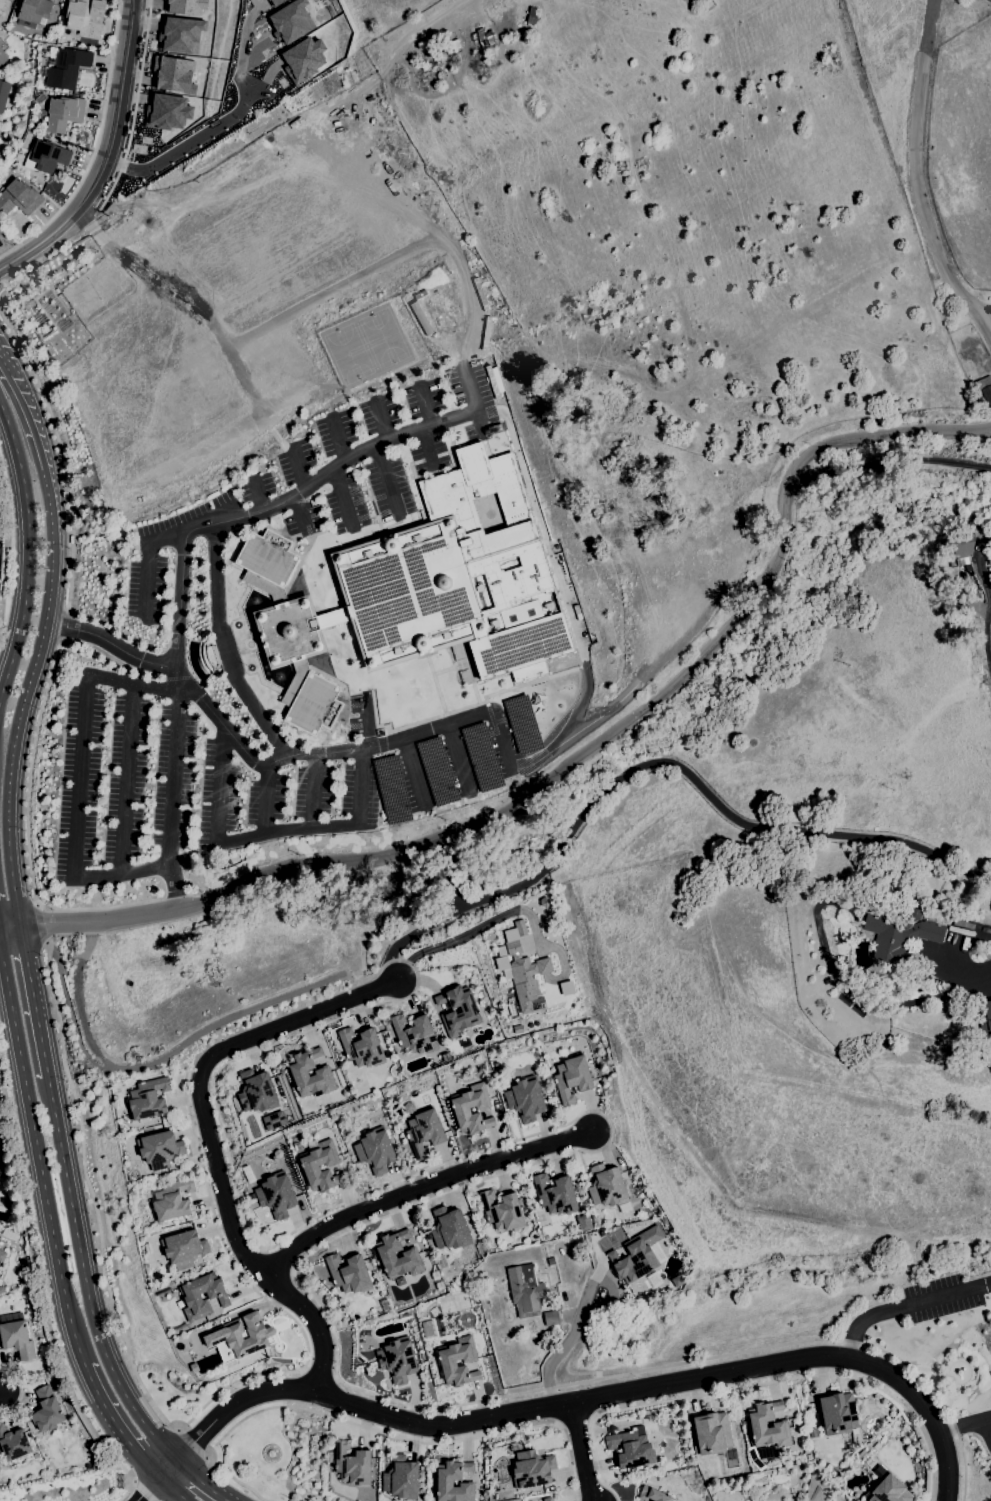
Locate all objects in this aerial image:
building: (1, 4)
building: (33, 13)
building: (83, 17)
building: (291, 21)
building: (181, 35)
building: (2, 58)
road: (241, 60)
building: (6, 66)
building: (67, 68)
building: (174, 75)
building: (3, 93)
building: (41, 98)
building: (170, 112)
building: (64, 114)
road: (189, 145)
road: (94, 146)
building: (48, 156)
road: (107, 156)
road: (920, 175)
building: (1, 187)
building: (19, 198)
building: (1, 231)
road: (2, 295)
road: (982, 308)
road: (471, 393)
road: (426, 409)
road: (24, 419)
road: (385, 424)
road: (340, 443)
road: (379, 444)
road: (895, 464)
road: (299, 471)
road: (386, 481)
road: (257, 497)
road: (344, 500)
road: (295, 512)
road: (239, 517)
road: (6, 549)
road: (28, 555)
road: (149, 561)
building: (458, 576)
road: (990, 596)
parking lot: (148, 621)
building: (289, 632)
road: (110, 645)
road: (224, 649)
road: (50, 677)
road: (25, 698)
road: (205, 706)
road: (364, 722)
road: (456, 723)
building: (522, 725)
building: (481, 757)
road: (458, 761)
road: (655, 764)
road: (572, 768)
building: (437, 771)
road: (411, 774)
road: (128, 779)
road: (81, 780)
building: (391, 790)
road: (314, 792)
road: (172, 793)
road: (268, 799)
road: (265, 835)
road: (41, 924)
road: (9, 927)
building: (899, 938)
building: (521, 976)
road: (33, 1002)
building: (470, 1012)
building: (984, 1015)
road: (288, 1030)
building: (414, 1034)
building: (464, 1043)
building: (362, 1048)
road: (158, 1059)
building: (299, 1073)
building: (572, 1079)
building: (257, 1092)
building: (148, 1099)
building: (525, 1100)
building: (409, 1108)
building: (461, 1110)
building: (273, 1120)
building: (424, 1133)
building: (159, 1149)
building: (376, 1151)
road: (38, 1156)
building: (309, 1167)
road: (469, 1185)
road: (424, 1189)
building: (608, 1189)
building: (276, 1195)
building: (555, 1195)
building: (649, 1195)
building: (172, 1201)
building: (502, 1211)
building: (583, 1222)
building: (449, 1229)
building: (148, 1249)
building: (183, 1249)
road: (246, 1253)
building: (386, 1255)
building: (577, 1255)
building: (2, 1256)
building: (646, 1258)
building: (551, 1261)
building: (443, 1264)
building: (349, 1274)
road: (85, 1279)
building: (24, 1283)
building: (2, 1290)
building: (526, 1291)
road: (42, 1296)
building: (191, 1298)
building: (386, 1307)
road: (907, 1307)
building: (551, 1318)
road: (576, 1328)
building: (225, 1335)
building: (17, 1339)
building: (398, 1360)
building: (447, 1362)
building: (44, 1375)
road: (756, 1386)
road: (20, 1390)
road: (4, 1393)
road: (582, 1403)
building: (47, 1410)
building: (838, 1414)
road: (165, 1422)
road: (117, 1425)
road: (966, 1427)
building: (768, 1429)
road: (988, 1429)
road: (374, 1430)
building: (813, 1433)
building: (712, 1434)
building: (856, 1438)
building: (14, 1444)
road: (191, 1444)
building: (631, 1449)
road: (582, 1453)
building: (95, 1465)
building: (352, 1465)
building: (532, 1469)
building: (632, 1471)
building: (401, 1478)
road: (199, 1481)
building: (445, 1481)
road: (142, 1488)
building: (886, 1488)
road: (172, 1489)
road: (147, 1490)
building: (653, 1495)
building: (547, 1499)

